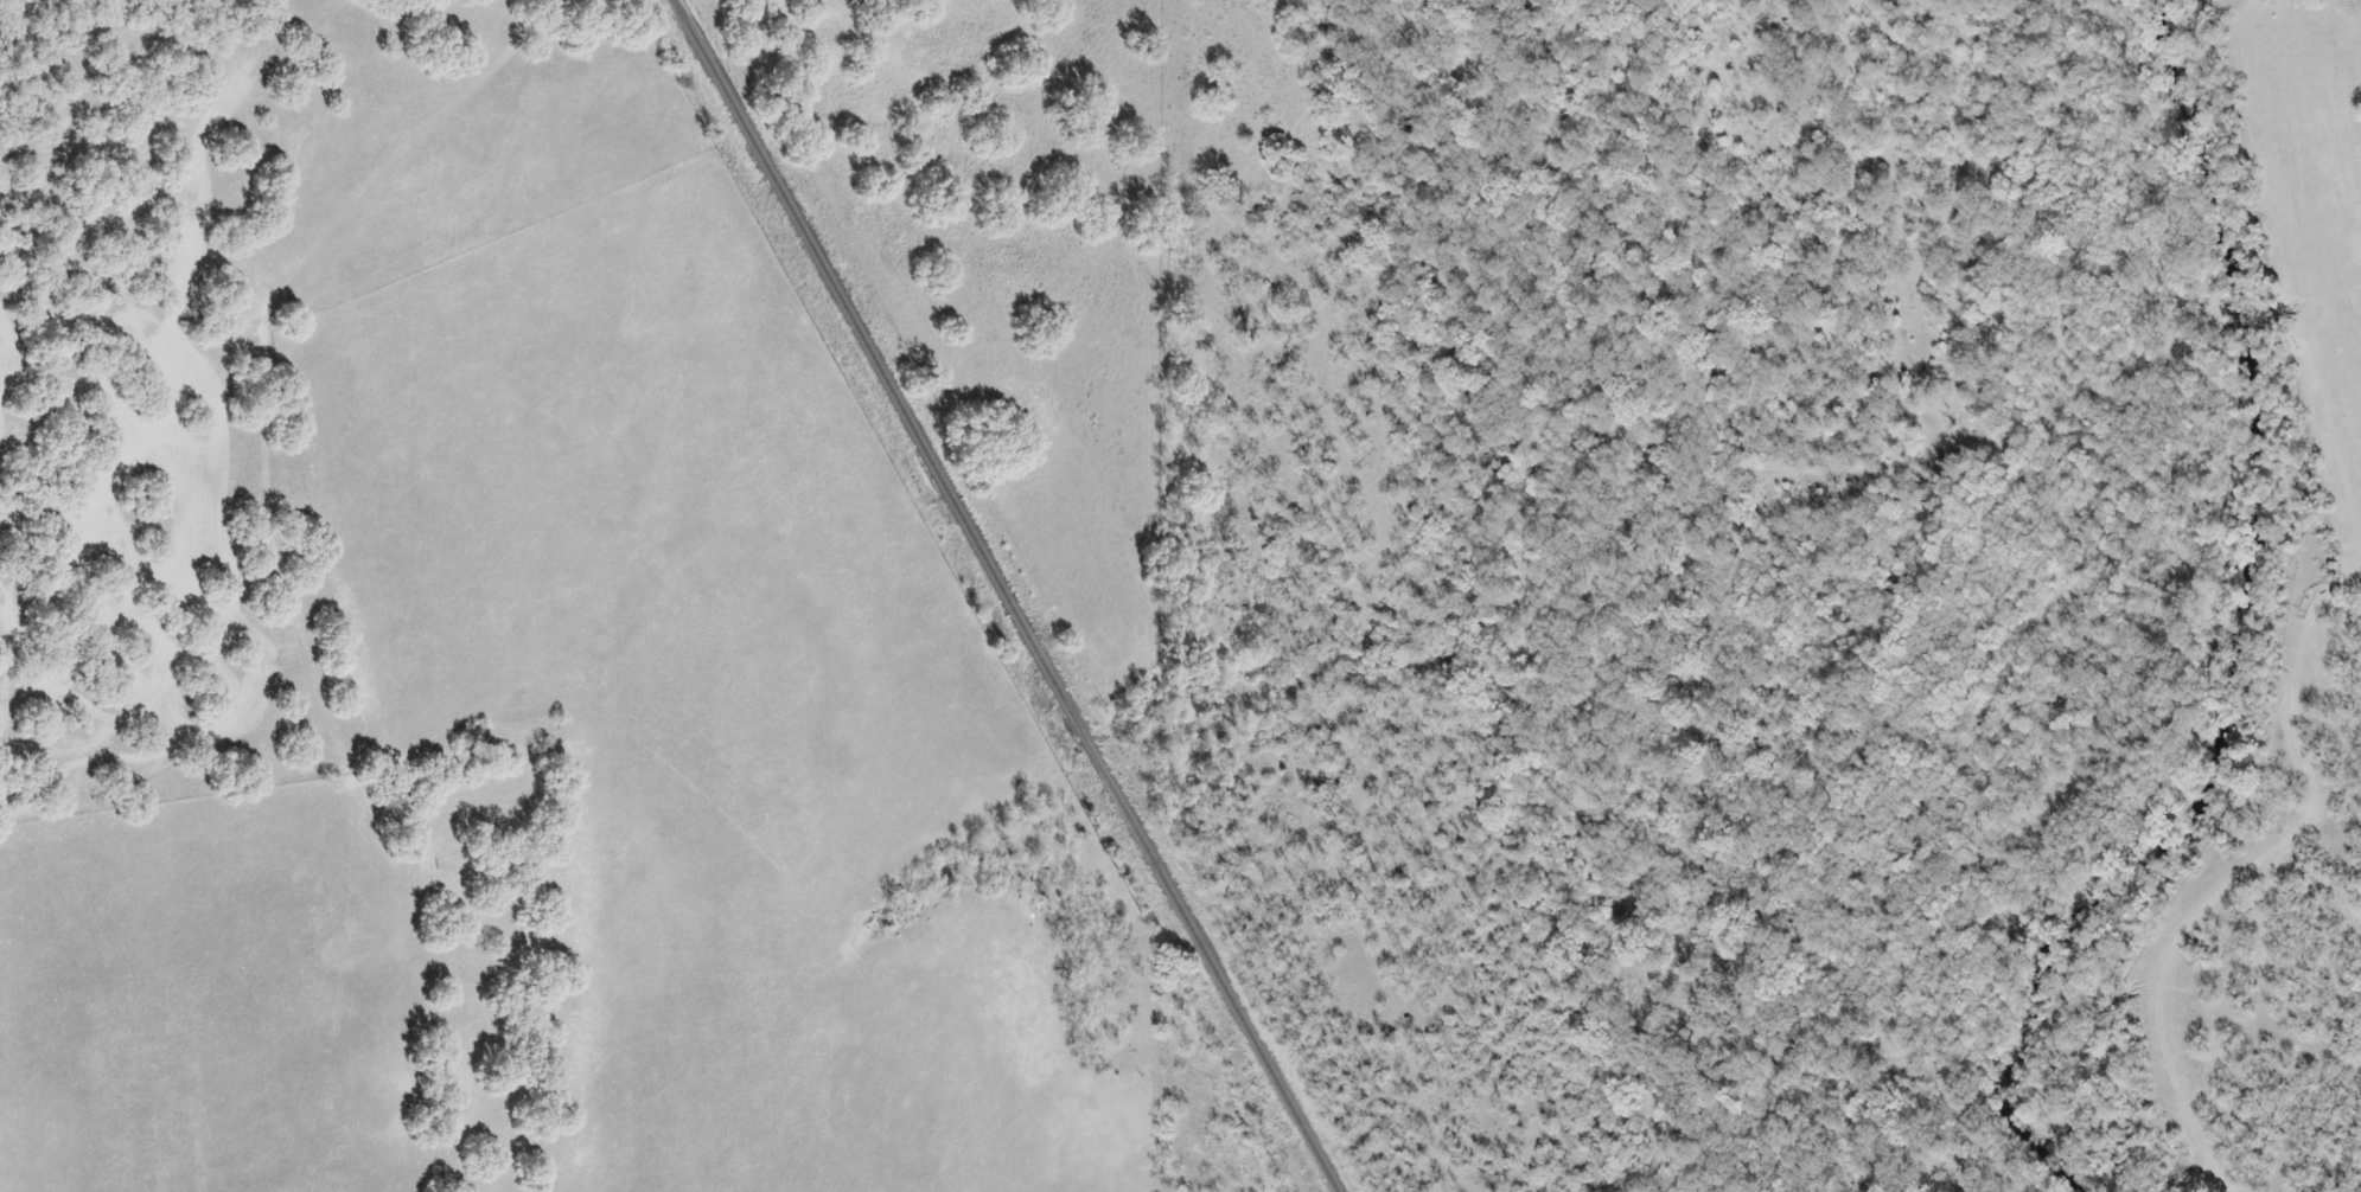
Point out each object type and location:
road: (285, 333)
railway: (998, 596)
river: (2232, 634)

